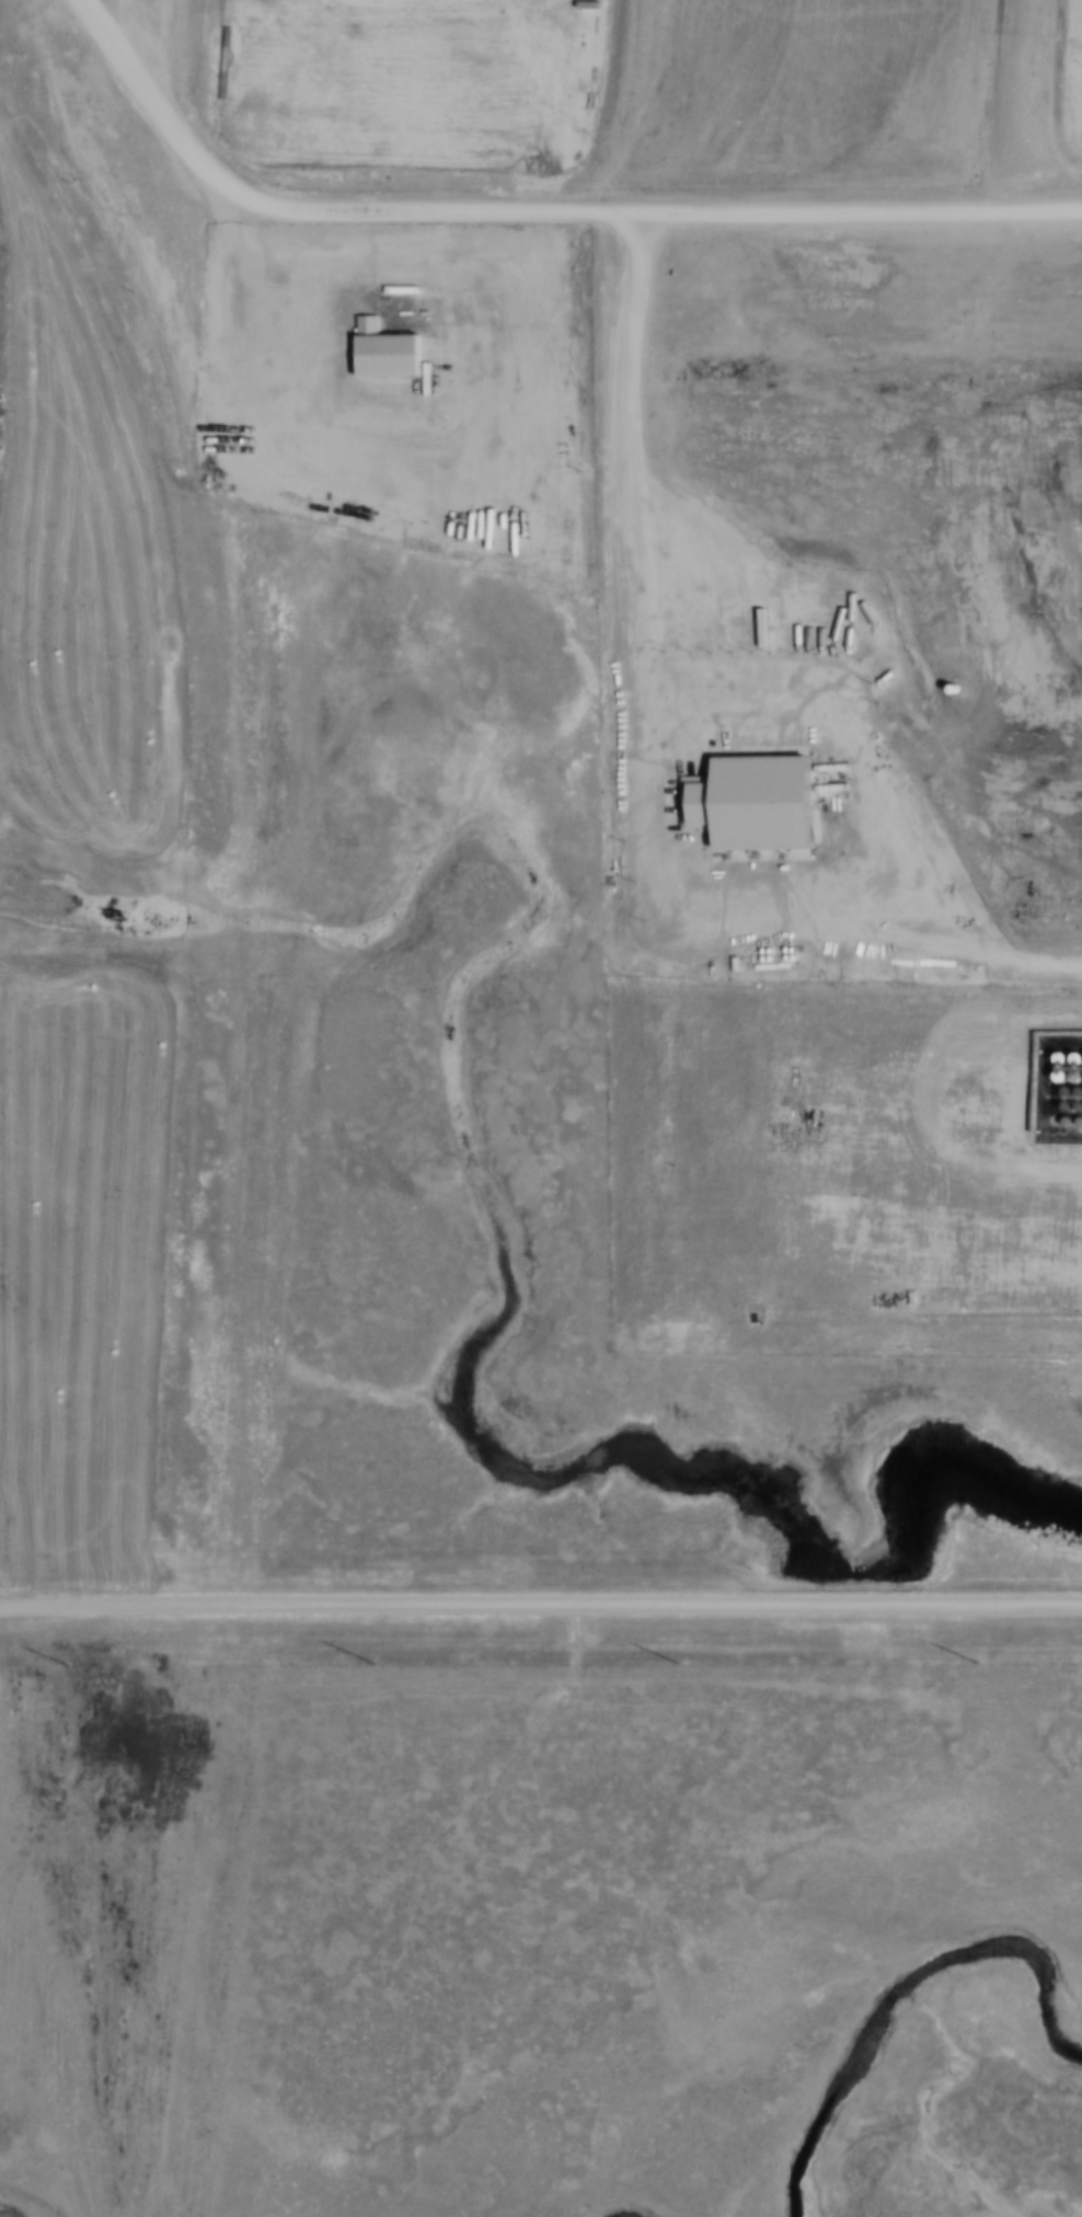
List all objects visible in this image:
road: (540, 1606)

